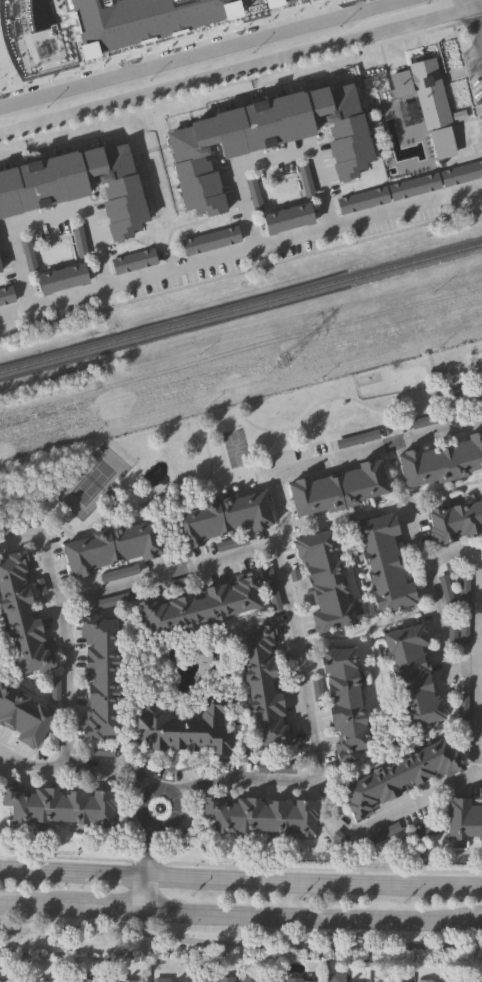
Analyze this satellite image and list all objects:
building: (275, 3)
road: (466, 4)
road: (475, 6)
road: (431, 18)
building: (141, 20)
road: (474, 33)
road: (168, 45)
road: (206, 54)
road: (197, 81)
road: (241, 82)
building: (422, 91)
building: (265, 140)
building: (440, 143)
road: (273, 158)
building: (460, 173)
building: (306, 180)
building: (79, 186)
building: (412, 187)
building: (254, 194)
building: (361, 200)
road: (47, 219)
building: (286, 219)
building: (210, 241)
building: (79, 242)
road: (240, 250)
building: (29, 256)
building: (133, 261)
building: (0, 269)
building: (61, 279)
building: (6, 295)
railway: (241, 310)
power tower: (281, 361)
building: (481, 402)
building: (433, 417)
building: (358, 436)
building: (442, 460)
park: (91, 474)
building: (339, 487)
building: (222, 518)
building: (455, 519)
building: (23, 521)
road: (283, 529)
building: (231, 544)
building: (112, 547)
building: (384, 560)
road: (166, 572)
building: (119, 573)
building: (326, 581)
building: (273, 587)
building: (446, 589)
building: (112, 597)
road: (429, 599)
building: (202, 605)
building: (464, 606)
building: (22, 614)
road: (64, 630)
building: (412, 672)
building: (101, 675)
building: (264, 686)
building: (346, 702)
building: (463, 713)
building: (23, 714)
building: (184, 725)
road: (3, 760)
road: (30, 763)
building: (275, 763)
road: (109, 767)
building: (400, 776)
building: (480, 789)
road: (445, 792)
building: (59, 805)
building: (261, 815)
building: (464, 818)
road: (143, 821)
road: (148, 852)
road: (240, 866)
road: (72, 873)
road: (313, 881)
road: (144, 894)
road: (38, 908)
road: (110, 911)
road: (473, 914)
road: (303, 917)
road: (473, 917)
park: (227, 940)
road: (240, 941)
building: (336, 977)
building: (6, 980)
building: (38, 980)
building: (83, 980)
building: (128, 980)
building: (216, 980)
building: (258, 980)
building: (298, 980)
building: (170, 981)
building: (389, 981)
building: (433, 981)

